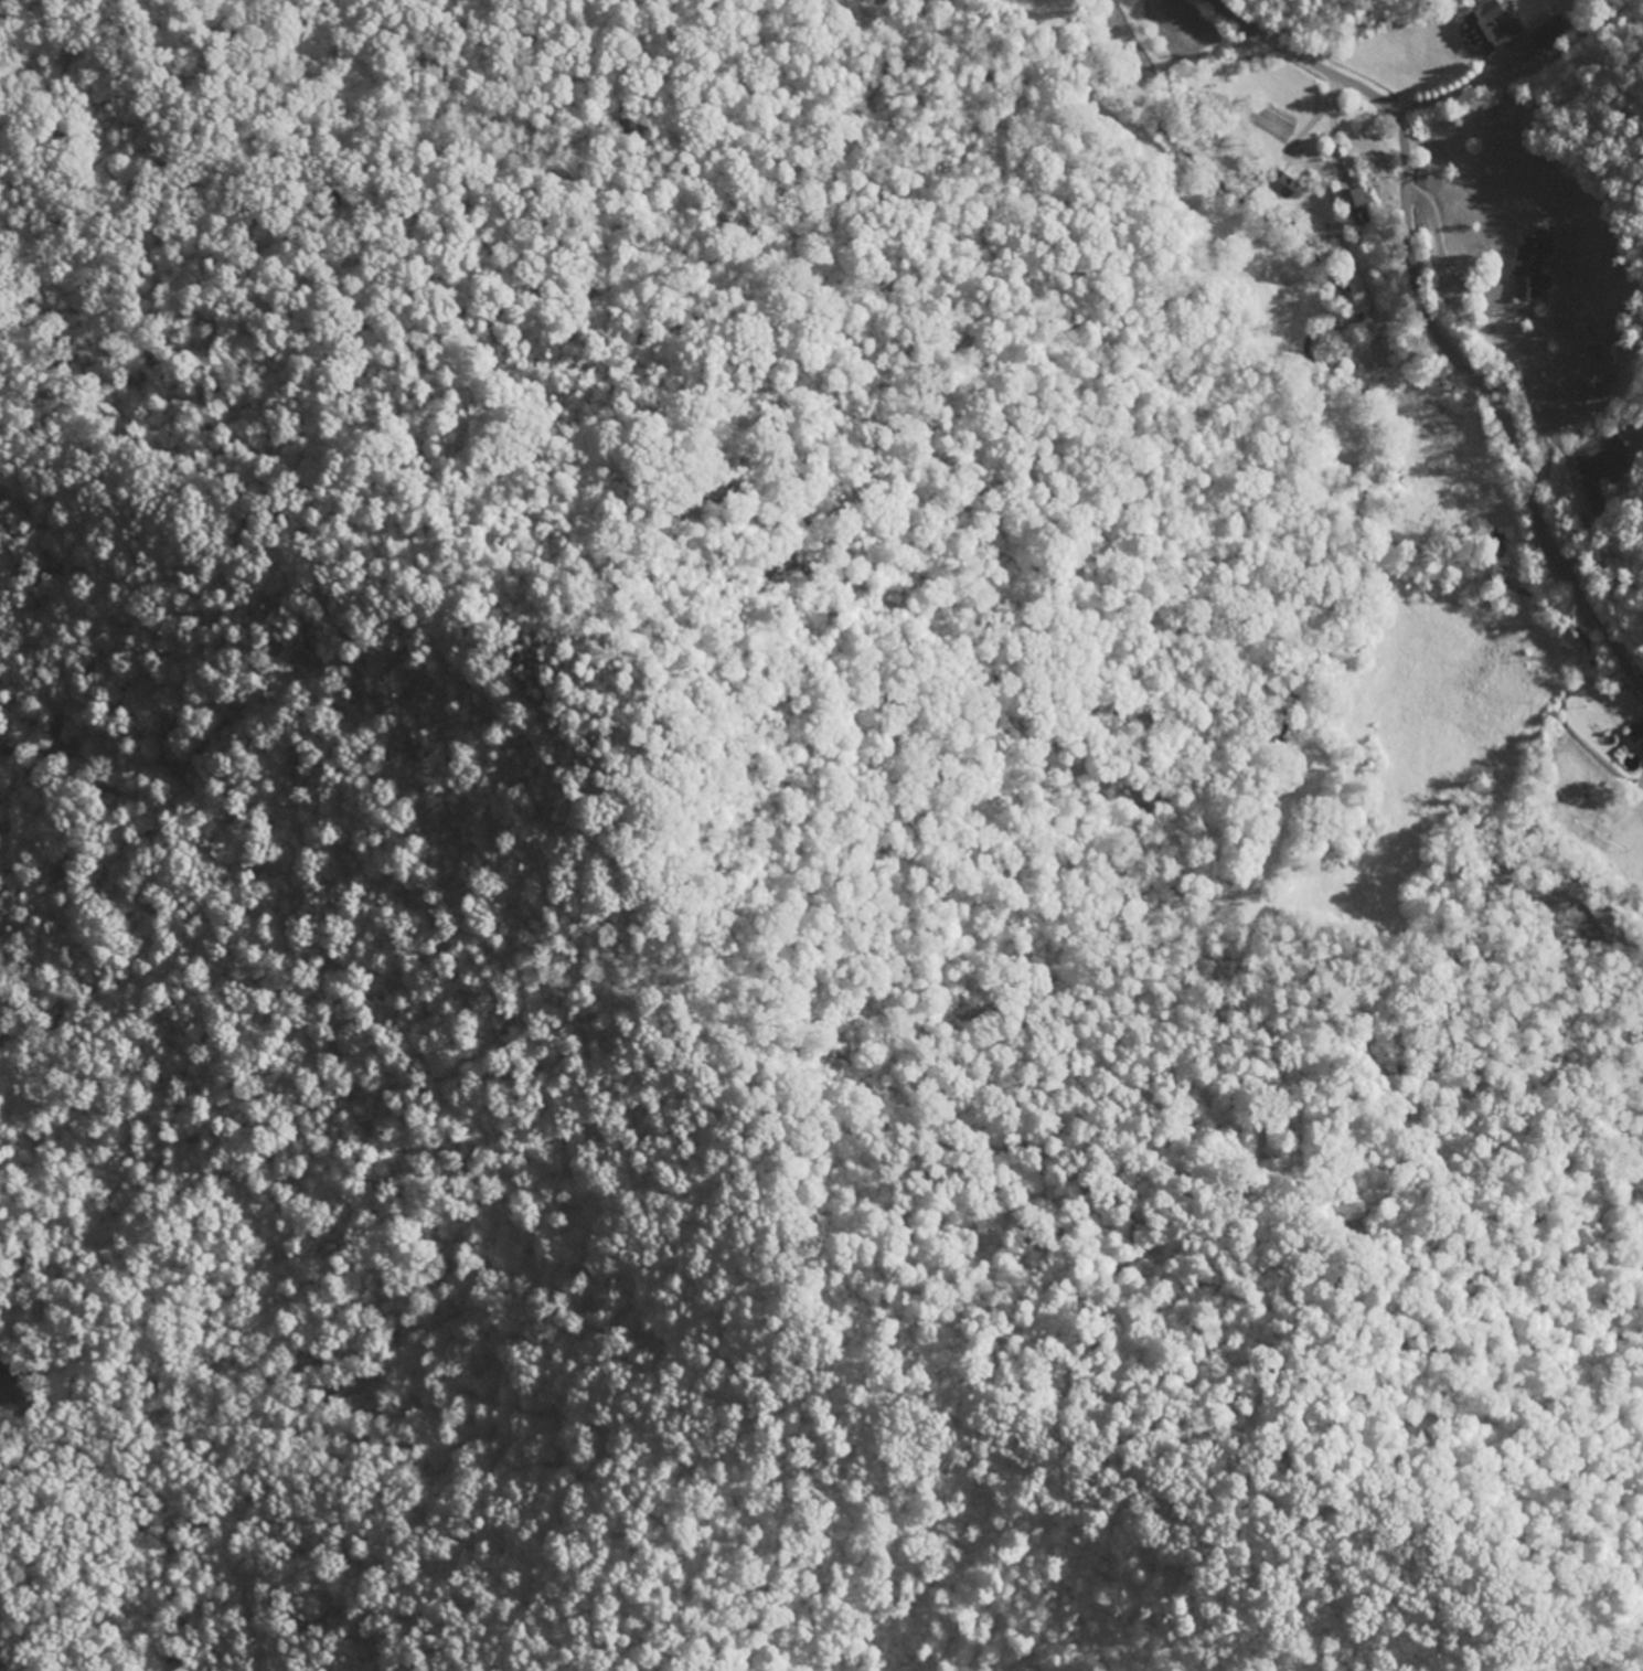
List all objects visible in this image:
road: (1515, 82)
building: (1351, 205)
road: (18, 264)
building: (1527, 269)
road: (1429, 322)

